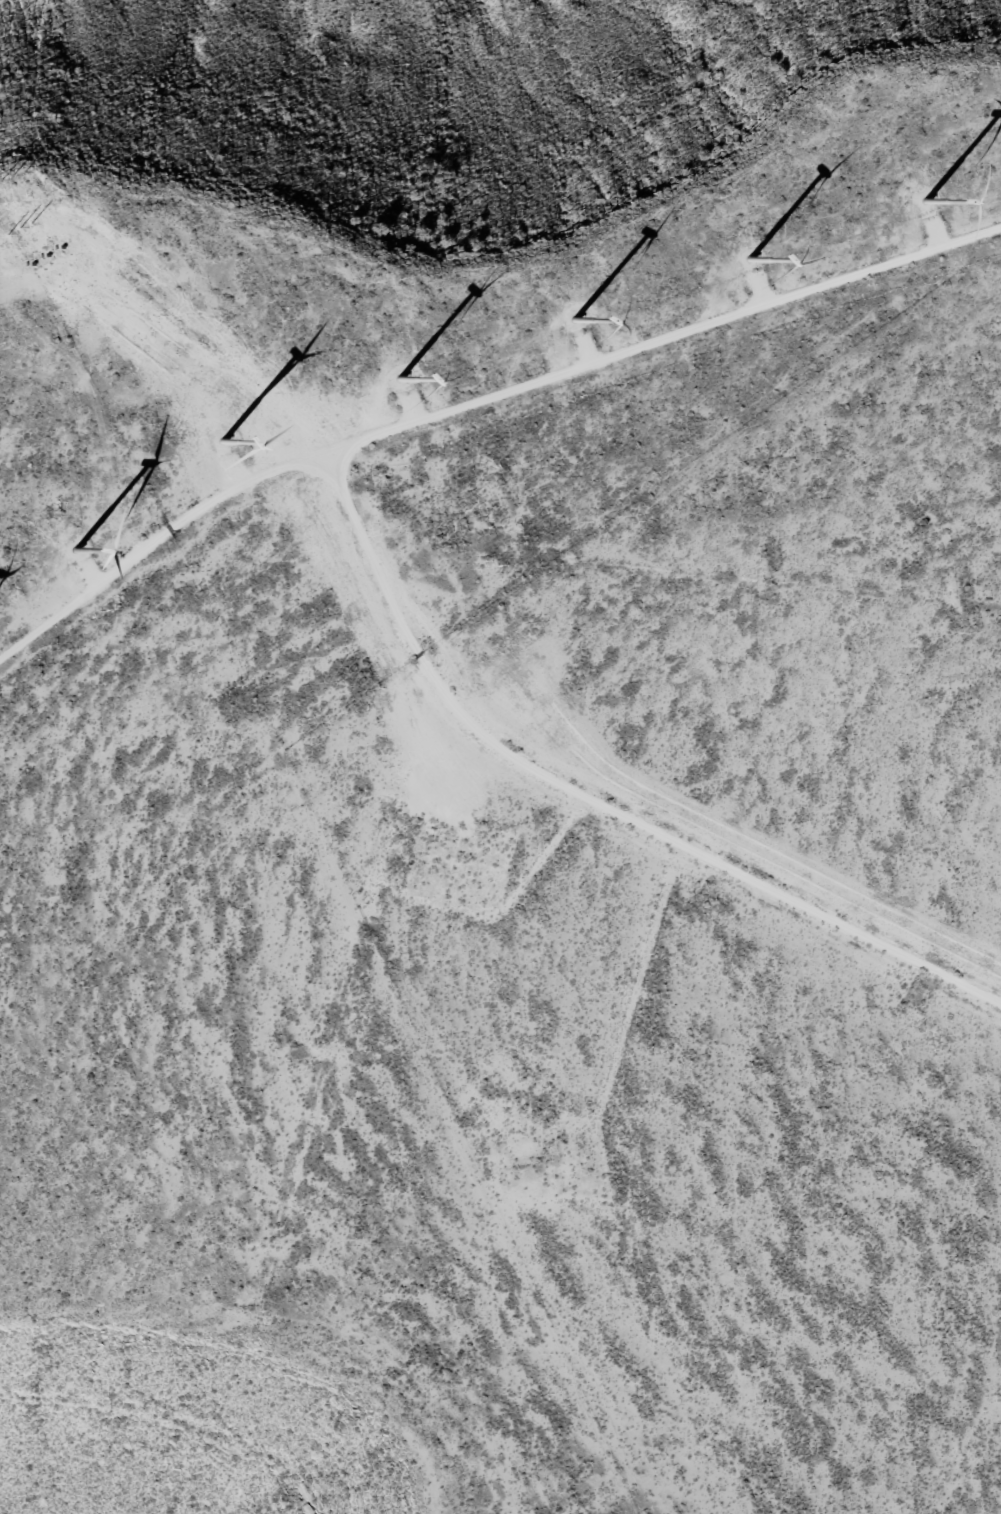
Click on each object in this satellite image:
wind turbine: (927, 197)
wind turbine: (749, 273)
wind turbine: (580, 322)
wind turbine: (406, 384)
wind turbine: (223, 460)
wind turbine: (85, 561)
road: (610, 858)

